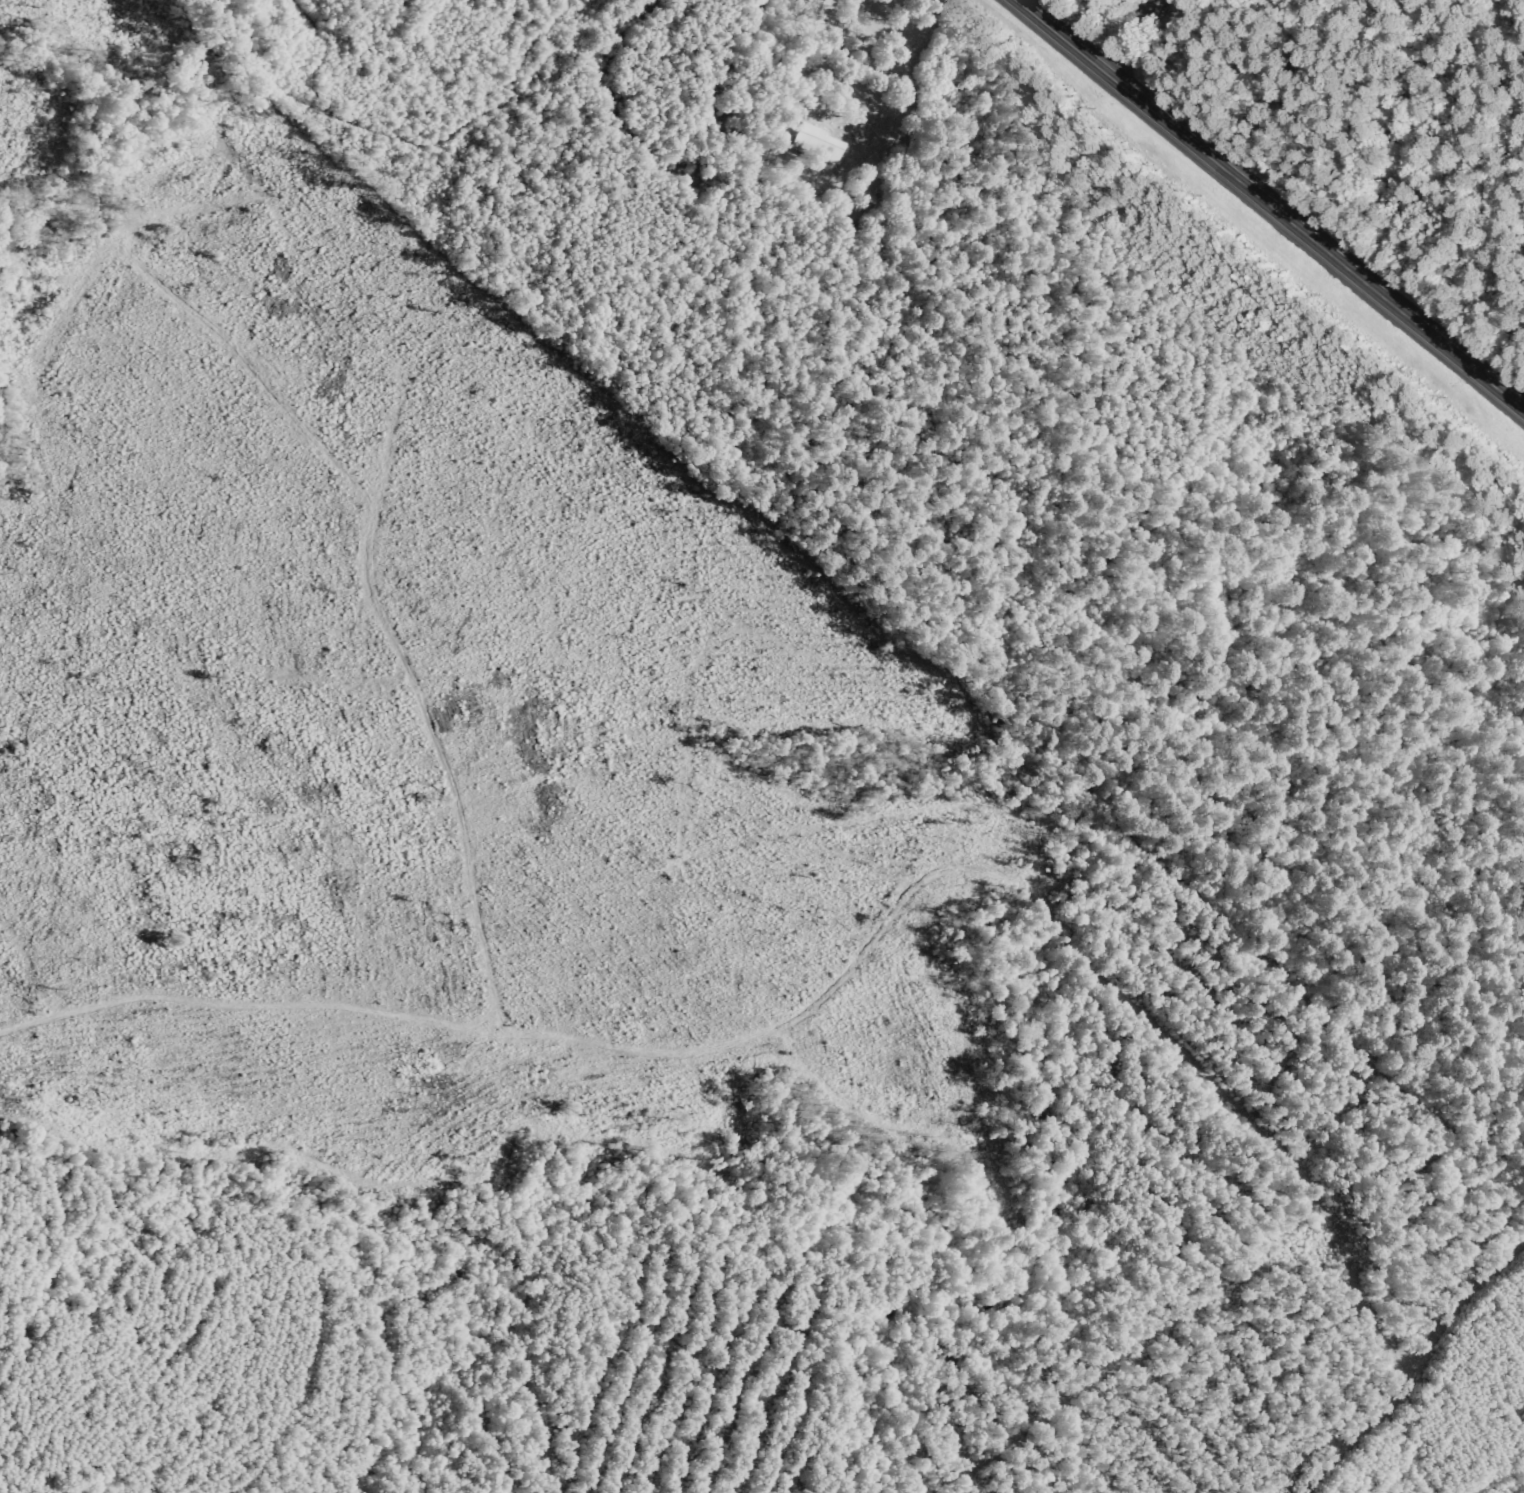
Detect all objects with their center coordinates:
building: (818, 143)
road: (1268, 207)

